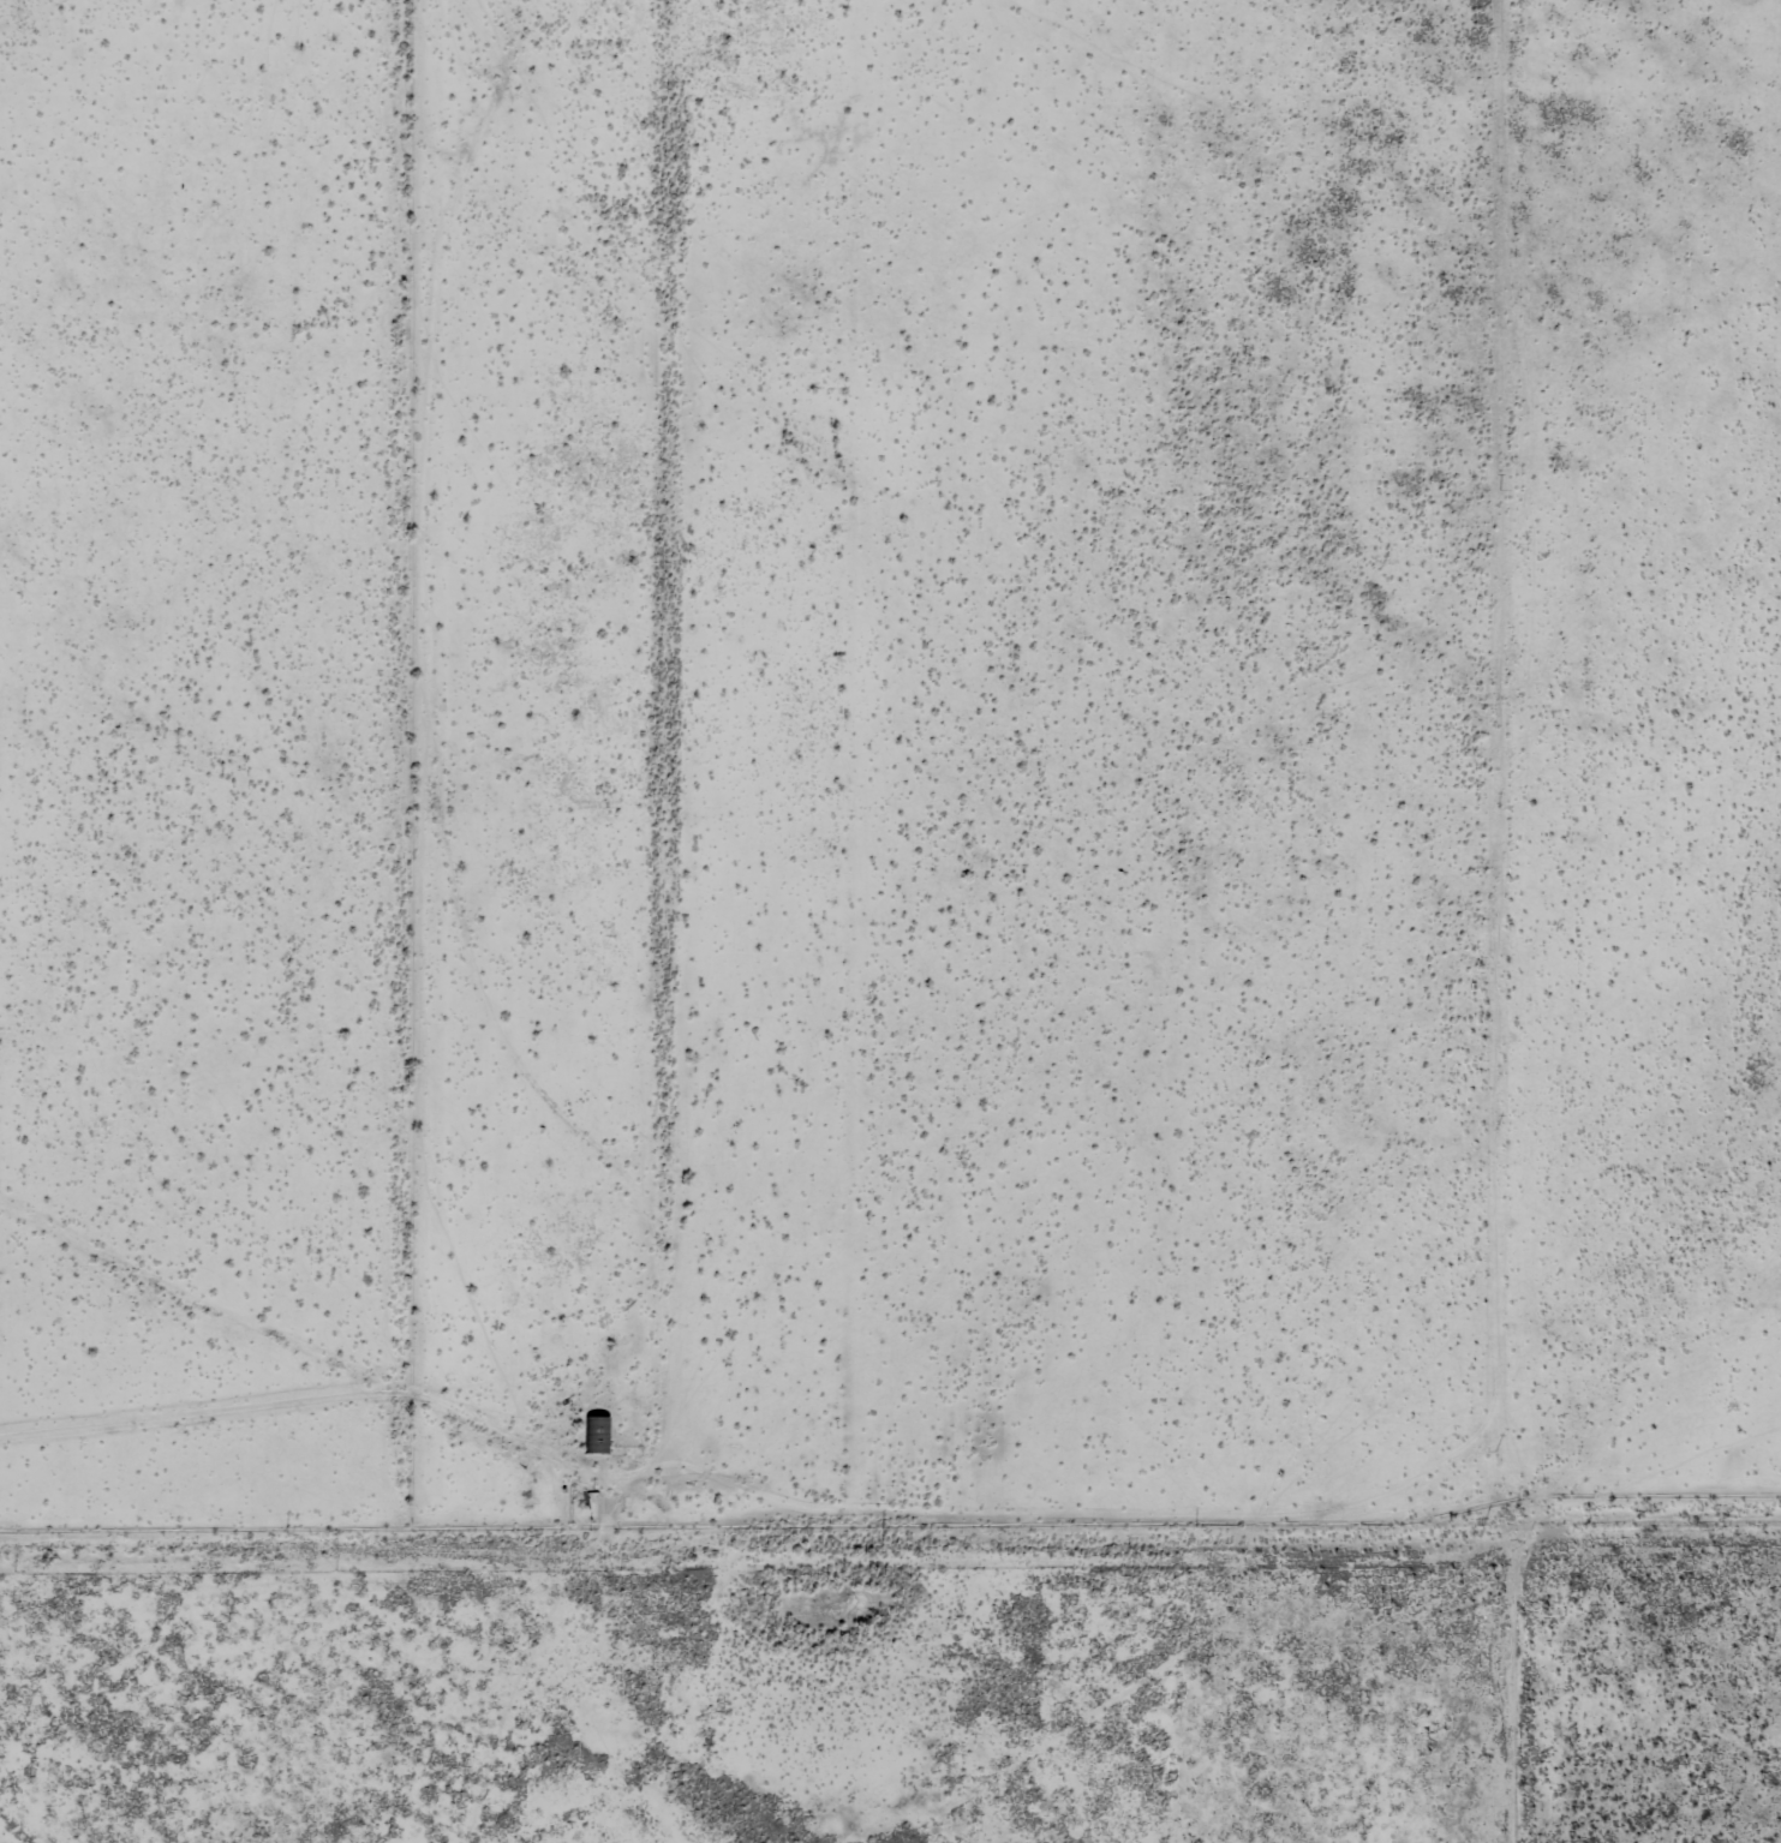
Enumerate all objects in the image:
building: (597, 1435)
road: (890, 1567)

